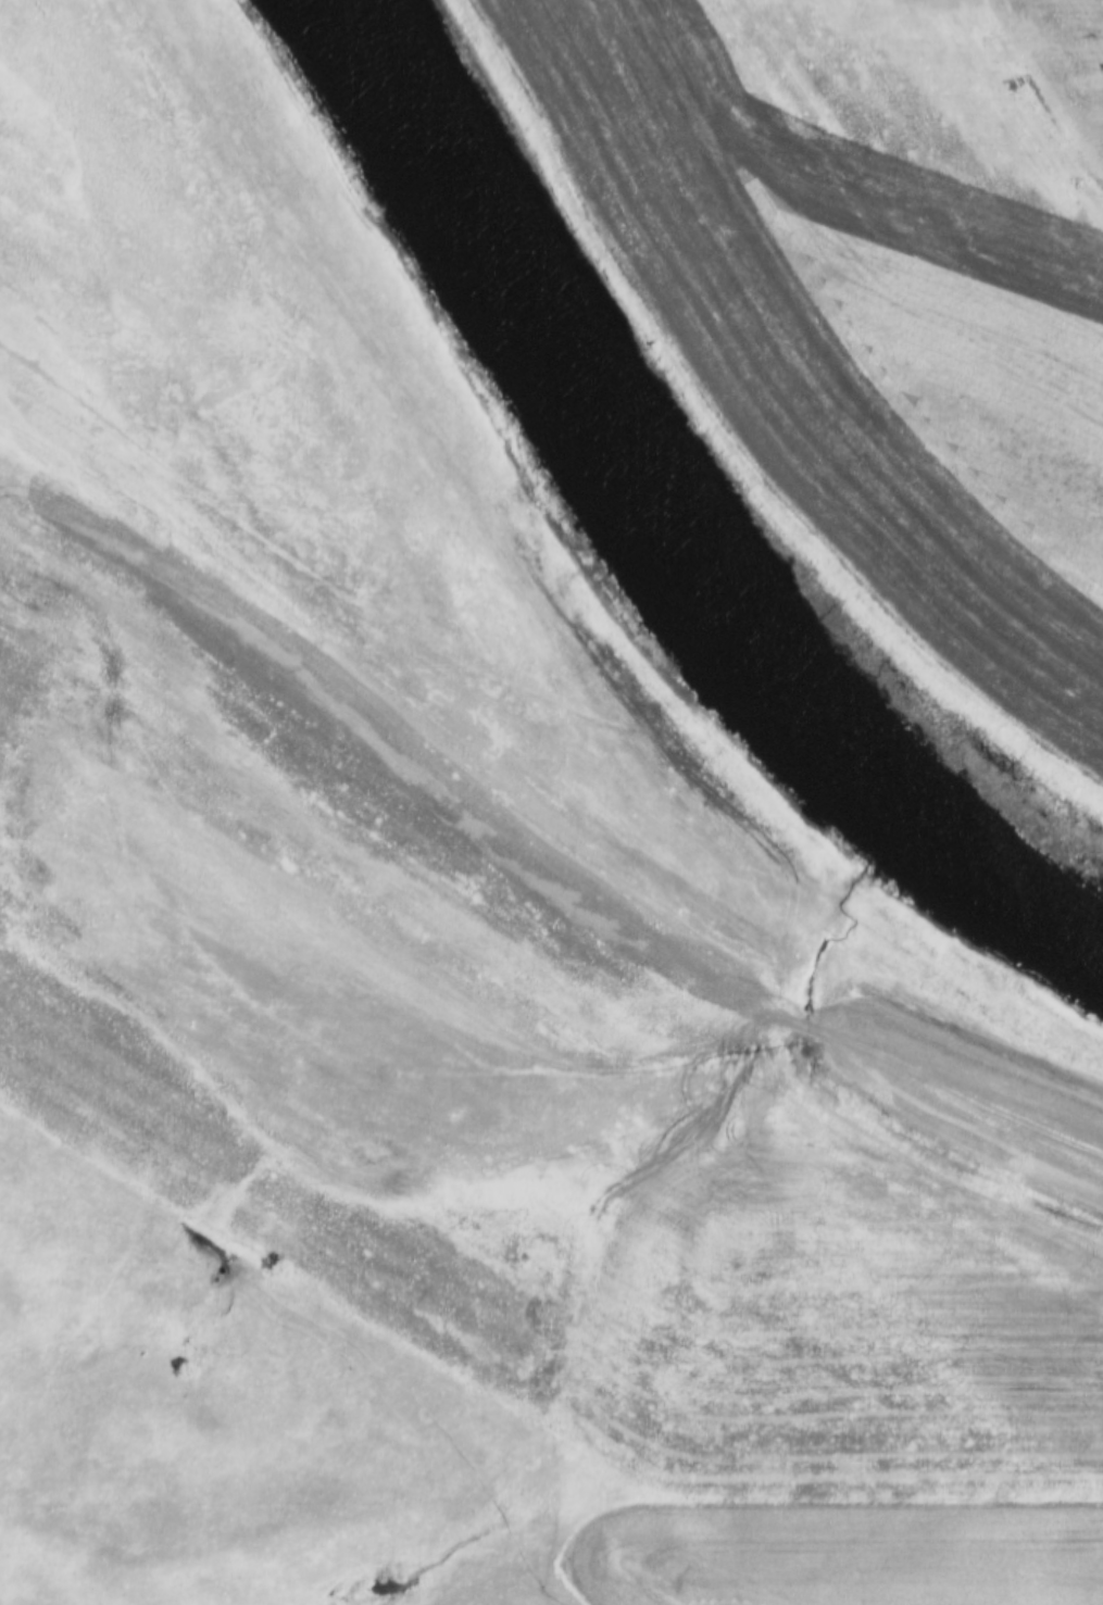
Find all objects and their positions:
river: (667, 522)
road: (498, 681)

